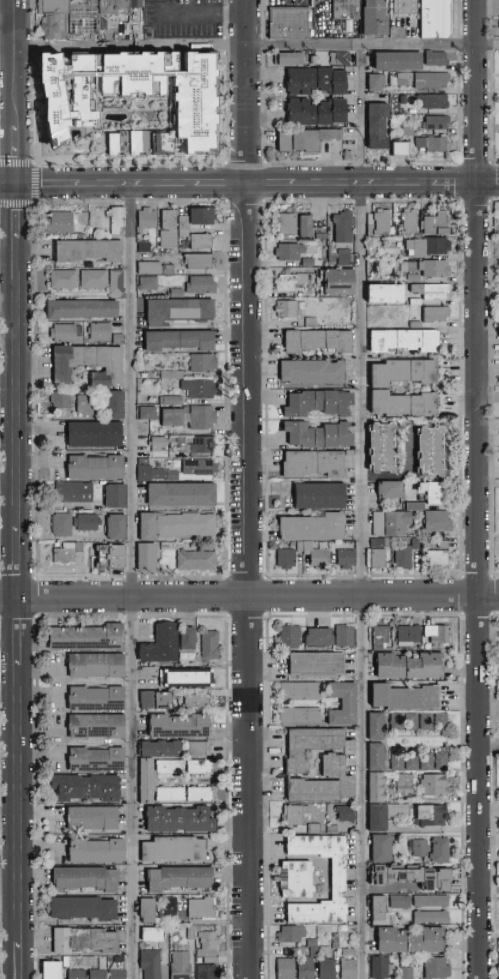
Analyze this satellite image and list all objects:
road: (489, 3)
building: (314, 4)
building: (120, 6)
building: (399, 6)
building: (343, 8)
road: (196, 17)
building: (369, 18)
building: (431, 18)
building: (56, 19)
road: (85, 23)
building: (291, 23)
building: (498, 26)
road: (10, 31)
road: (249, 47)
building: (341, 59)
building: (438, 59)
building: (498, 59)
building: (291, 60)
building: (399, 62)
road: (19, 65)
building: (422, 81)
building: (377, 83)
building: (294, 98)
building: (132, 101)
building: (438, 106)
building: (438, 123)
building: (379, 127)
building: (409, 132)
building: (306, 140)
building: (435, 145)
building: (403, 149)
road: (18, 158)
building: (197, 161)
road: (249, 185)
traffic signals: (18, 186)
road: (18, 213)
building: (204, 218)
building: (147, 221)
building: (119, 222)
building: (380, 223)
building: (408, 223)
building: (437, 223)
building: (61, 224)
building: (287, 224)
building: (307, 225)
building: (344, 226)
building: (185, 227)
building: (170, 230)
building: (323, 236)
building: (203, 242)
building: (429, 246)
building: (146, 247)
building: (89, 251)
building: (291, 252)
building: (333, 254)
building: (345, 257)
building: (201, 262)
building: (310, 262)
building: (429, 268)
building: (157, 269)
building: (415, 278)
building: (65, 280)
building: (96, 280)
building: (292, 281)
building: (340, 281)
building: (118, 283)
building: (150, 284)
building: (203, 286)
building: (433, 290)
building: (380, 293)
building: (177, 294)
building: (417, 303)
building: (290, 309)
building: (83, 310)
building: (180, 311)
building: (437, 315)
building: (312, 322)
building: (417, 325)
building: (101, 332)
building: (67, 334)
building: (115, 338)
building: (120, 340)
building: (319, 340)
building: (405, 340)
building: (181, 342)
building: (204, 364)
building: (91, 365)
building: (313, 371)
building: (405, 371)
building: (172, 376)
road: (19, 382)
building: (201, 390)
building: (62, 401)
building: (173, 402)
building: (319, 403)
building: (405, 404)
building: (87, 406)
building: (116, 406)
building: (150, 414)
building: (192, 418)
building: (320, 434)
building: (96, 436)
building: (160, 445)
building: (384, 447)
building: (199, 448)
building: (433, 451)
building: (314, 464)
building: (97, 469)
building: (201, 472)
road: (249, 489)
building: (392, 489)
road: (480, 489)
building: (436, 492)
building: (75, 494)
building: (184, 496)
building: (321, 496)
building: (117, 498)
building: (417, 507)
road: (366, 512)
building: (438, 521)
building: (88, 523)
building: (392, 523)
building: (63, 526)
building: (178, 527)
building: (314, 527)
building: (118, 528)
building: (383, 543)
building: (418, 544)
building: (445, 545)
building: (301, 547)
building: (81, 549)
building: (66, 555)
building: (318, 556)
building: (404, 557)
building: (287, 558)
building: (112, 559)
building: (149, 559)
building: (347, 559)
building: (379, 559)
building: (440, 559)
road: (20, 561)
building: (198, 561)
road: (134, 582)
road: (249, 597)
road: (20, 632)
building: (410, 634)
building: (439, 634)
building: (346, 636)
building: (291, 637)
building: (88, 638)
building: (320, 638)
building: (382, 638)
building: (189, 639)
building: (163, 645)
building: (211, 646)
building: (404, 664)
building: (97, 665)
building: (318, 665)
building: (188, 678)
building: (301, 692)
building: (408, 698)
building: (98, 699)
building: (149, 701)
building: (199, 701)
building: (344, 704)
building: (302, 717)
building: (398, 722)
building: (413, 722)
building: (428, 722)
building: (442, 722)
building: (98, 726)
building: (181, 727)
building: (377, 727)
building: (162, 749)
building: (200, 749)
building: (377, 758)
building: (98, 760)
building: (442, 761)
building: (398, 762)
building: (413, 762)
building: (428, 762)
building: (298, 767)
building: (172, 768)
building: (203, 768)
building: (148, 781)
building: (435, 785)
building: (406, 788)
building: (87, 789)
building: (172, 794)
building: (203, 794)
road: (20, 804)
building: (347, 814)
building: (387, 815)
building: (295, 816)
building: (432, 816)
building: (94, 819)
building: (180, 820)
building: (315, 829)
building: (333, 830)
building: (383, 849)
building: (420, 849)
building: (175, 850)
building: (441, 851)
building: (98, 852)
building: (413, 877)
building: (87, 879)
building: (180, 879)
building: (297, 880)
building: (339, 880)
building: (432, 902)
building: (401, 903)
building: (172, 907)
building: (85, 909)
building: (203, 909)
building: (149, 911)
building: (380, 911)
building: (433, 918)
building: (346, 930)
building: (192, 934)
building: (293, 934)
building: (154, 935)
building: (86, 941)
building: (412, 941)
building: (337, 942)
building: (314, 943)
building: (209, 945)
building: (325, 951)
building: (315, 952)
building: (292, 953)
road: (21, 960)
building: (121, 961)
building: (213, 961)
building: (89, 962)
building: (152, 964)
building: (350, 964)
building: (182, 966)
building: (381, 968)
building: (287, 969)
building: (307, 969)
building: (327, 969)
building: (438, 969)
building: (52, 971)
building: (209, 972)
building: (407, 973)
building: (78, 975)
building: (99, 975)
building: (118, 975)

